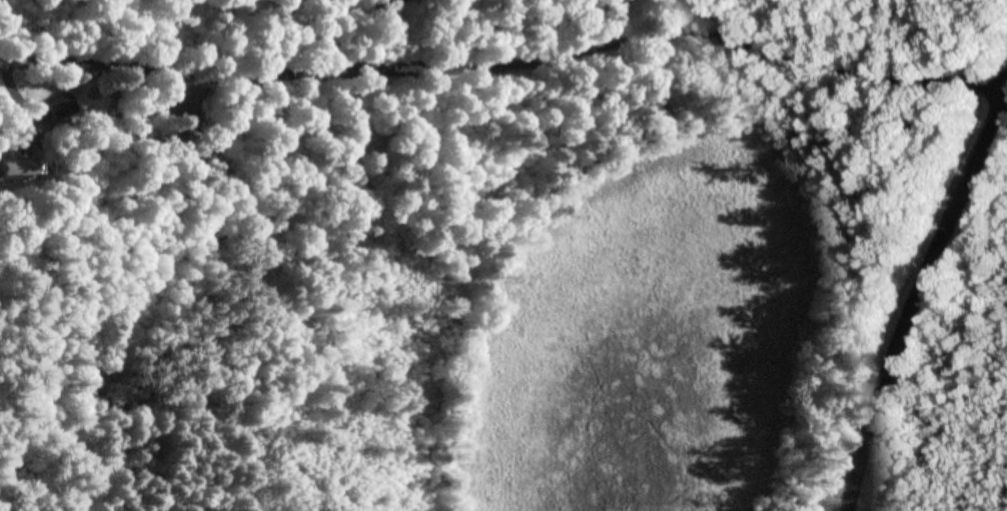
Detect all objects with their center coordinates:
road: (504, 65)
building: (62, 105)
building: (23, 167)
building: (6, 172)
road: (906, 291)
road: (824, 510)
road: (824, 510)

